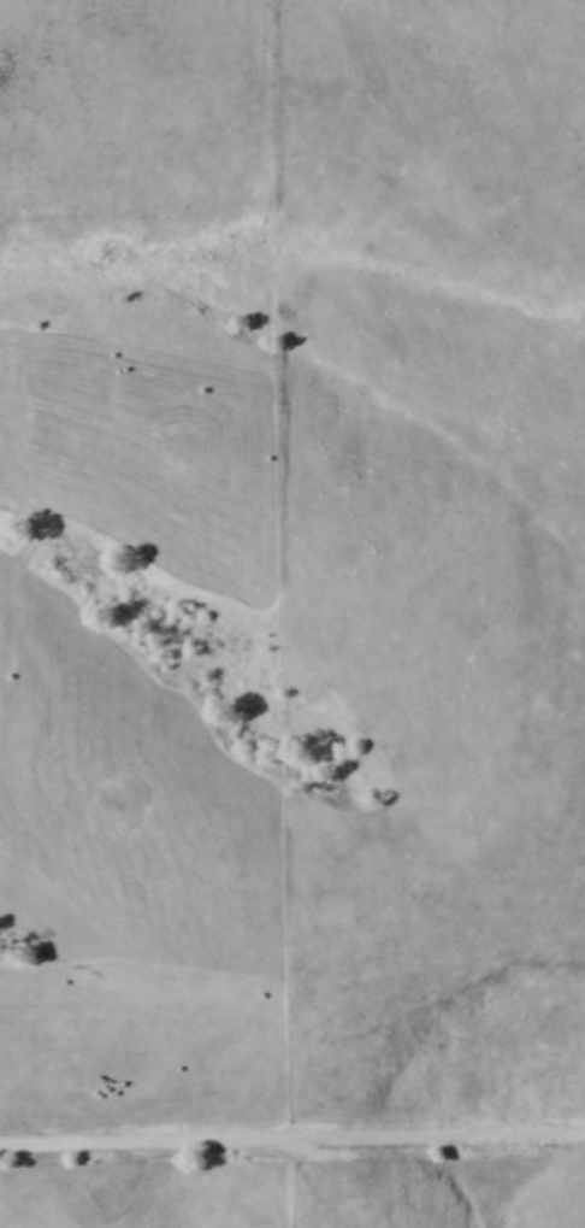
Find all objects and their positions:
road: (292, 1140)

